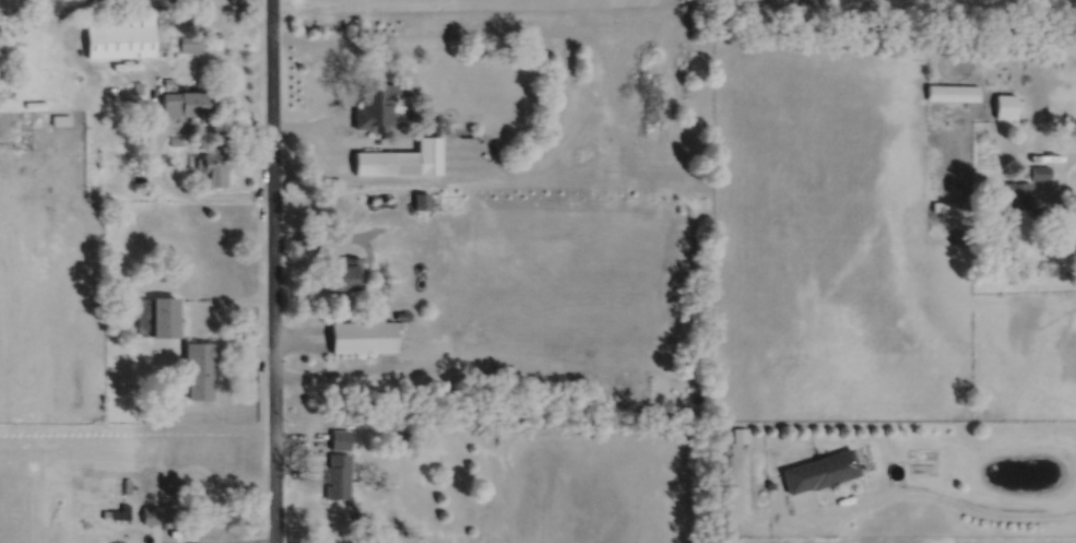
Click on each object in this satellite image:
building: (119, 35)
building: (216, 35)
building: (190, 43)
road: (146, 72)
building: (167, 80)
building: (137, 86)
building: (951, 92)
building: (186, 103)
building: (374, 104)
building: (1004, 104)
building: (412, 116)
building: (59, 120)
building: (174, 139)
road: (155, 152)
building: (400, 157)
building: (214, 162)
building: (1039, 170)
road: (1057, 176)
building: (1017, 193)
building: (423, 198)
building: (383, 202)
building: (939, 204)
building: (1042, 211)
building: (1067, 234)
building: (344, 269)
road: (272, 271)
building: (156, 314)
building: (363, 334)
road: (245, 351)
building: (198, 366)
building: (740, 434)
building: (398, 436)
building: (340, 437)
crop: (110, 463)
building: (724, 463)
building: (819, 470)
building: (338, 474)
building: (126, 484)
building: (769, 484)
road: (870, 498)
building: (117, 511)
building: (151, 512)
road: (208, 541)

